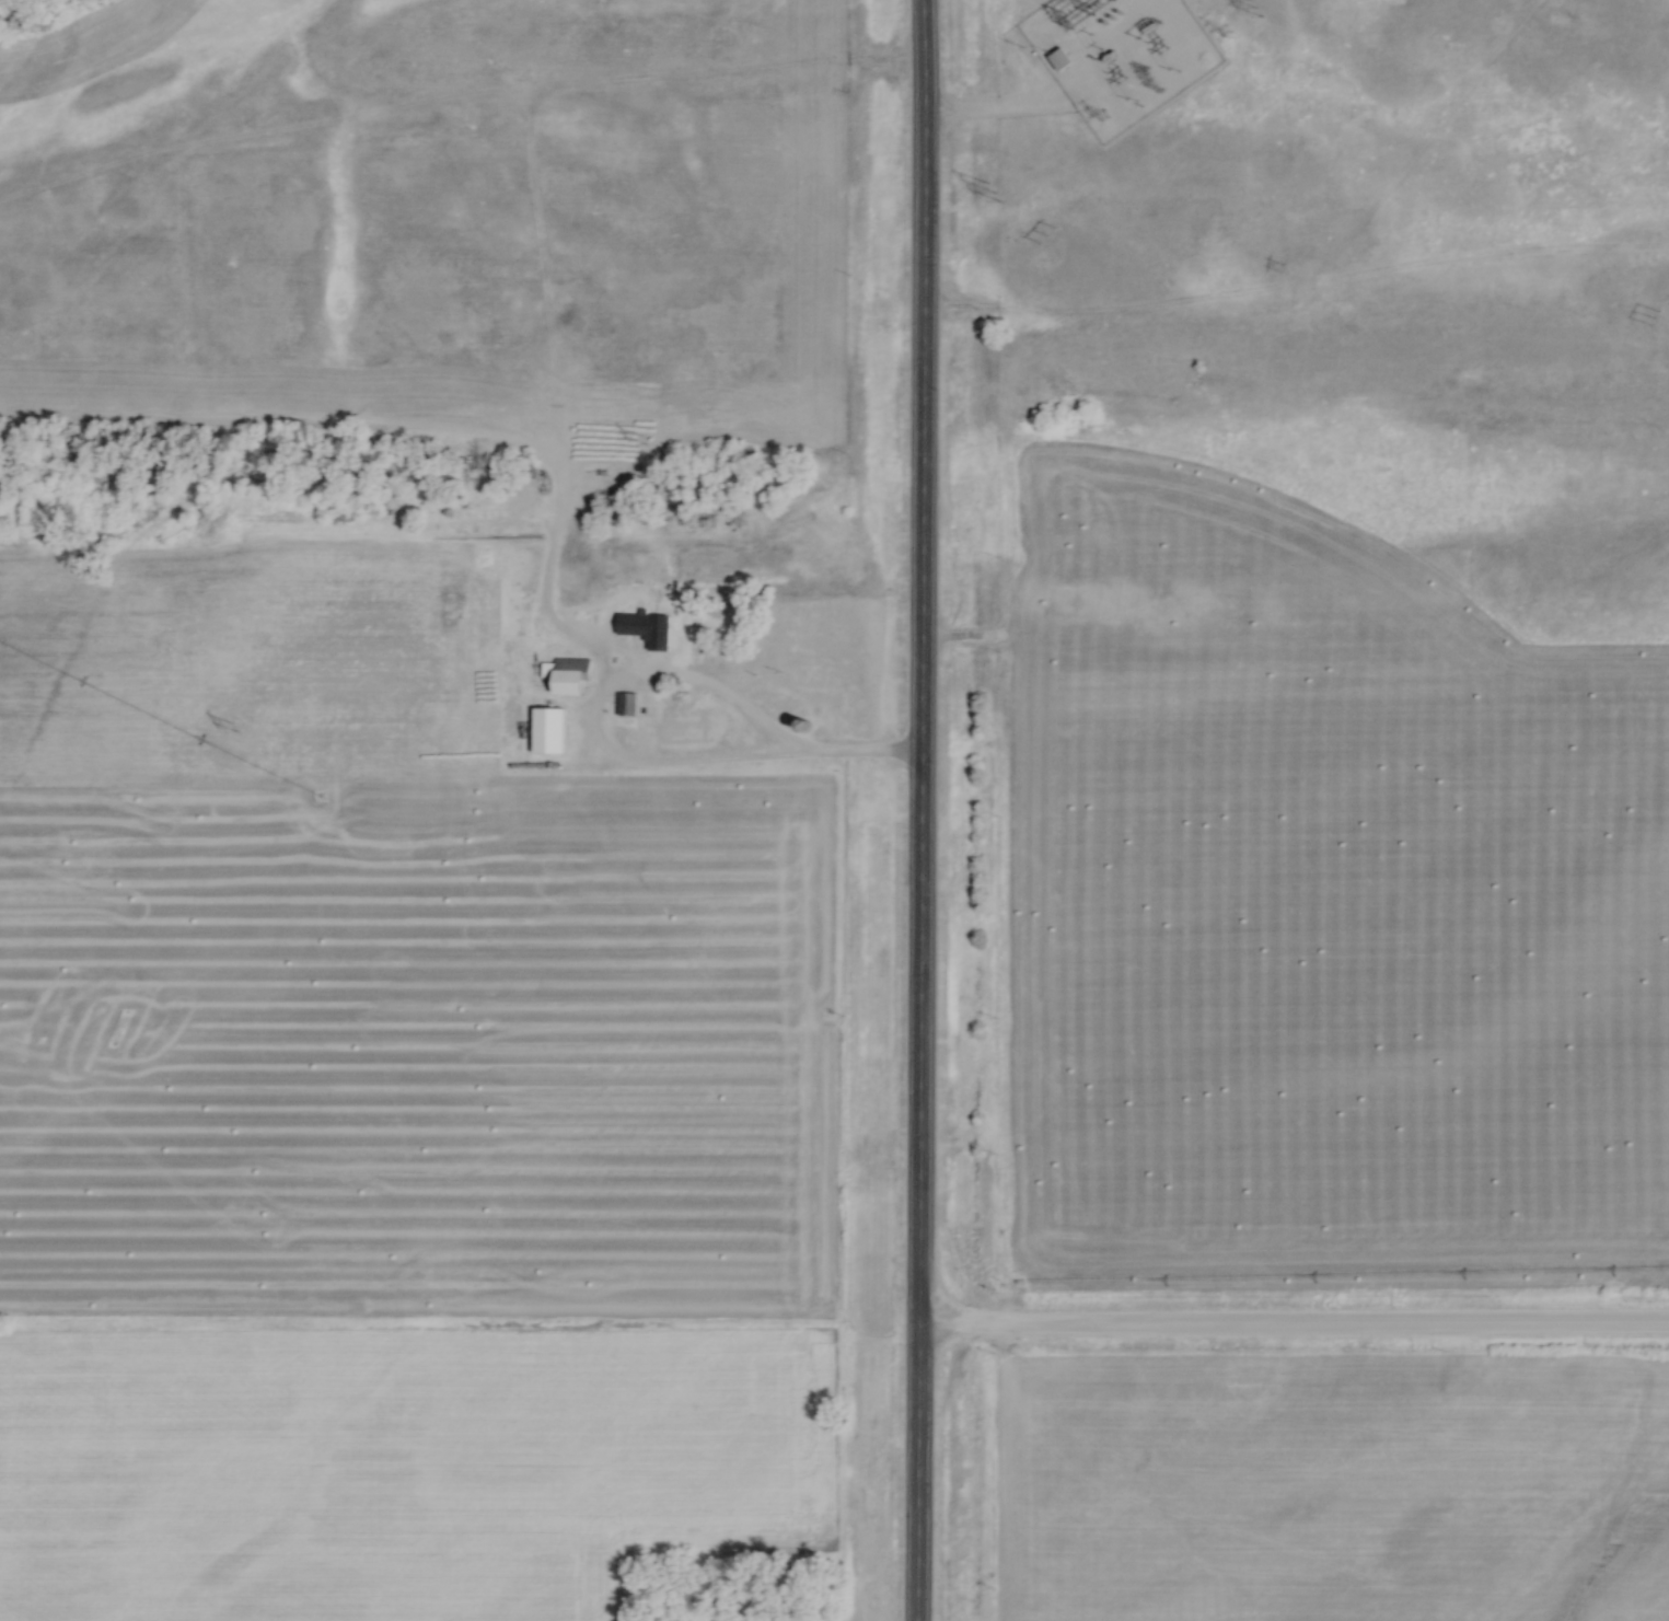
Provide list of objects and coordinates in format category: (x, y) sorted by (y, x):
power tower: (1252, 8)
power tower: (1219, 31)
power substation: (1115, 56)
power tower: (1150, 79)
road: (990, 106)
power tower: (1098, 115)
power tower: (990, 193)
power tower: (638, 440)
building: (653, 642)
building: (570, 676)
building: (626, 704)
road: (589, 722)
power tower: (229, 728)
building: (546, 730)
road: (859, 759)
road: (917, 810)
building: (623, 901)
road: (1291, 1330)

